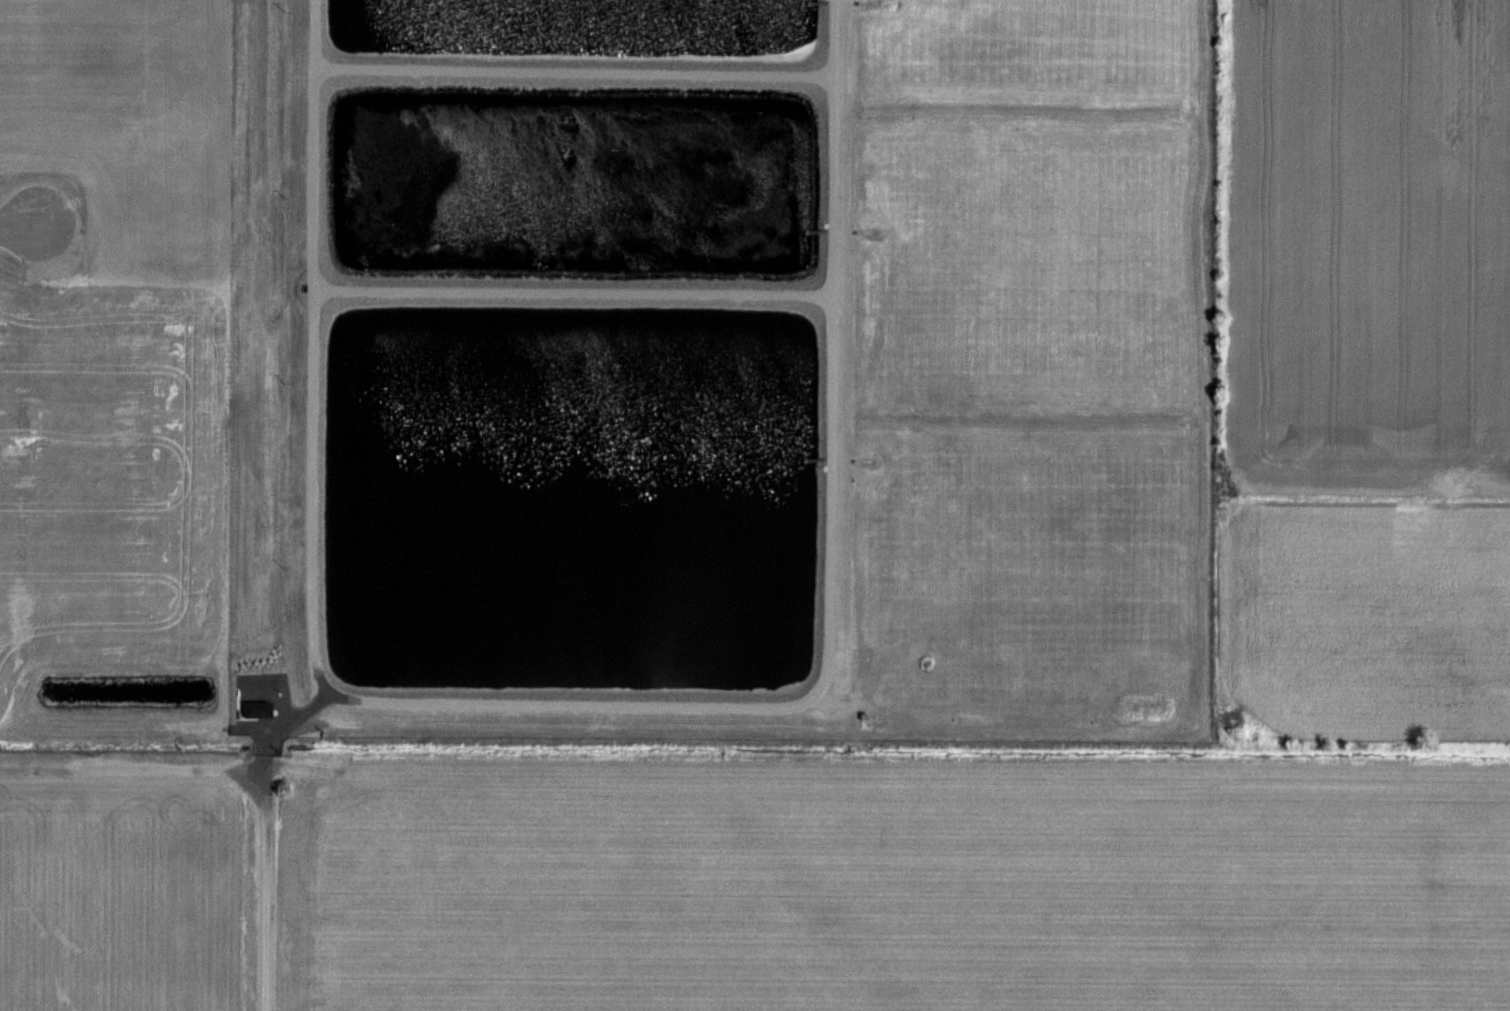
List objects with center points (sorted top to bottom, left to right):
road: (574, 70)
road: (18, 227)
road: (573, 290)
crop: (134, 341)
road: (314, 352)
wastewater plant: (752, 370)
road: (828, 601)
road: (265, 849)
crop: (117, 894)

